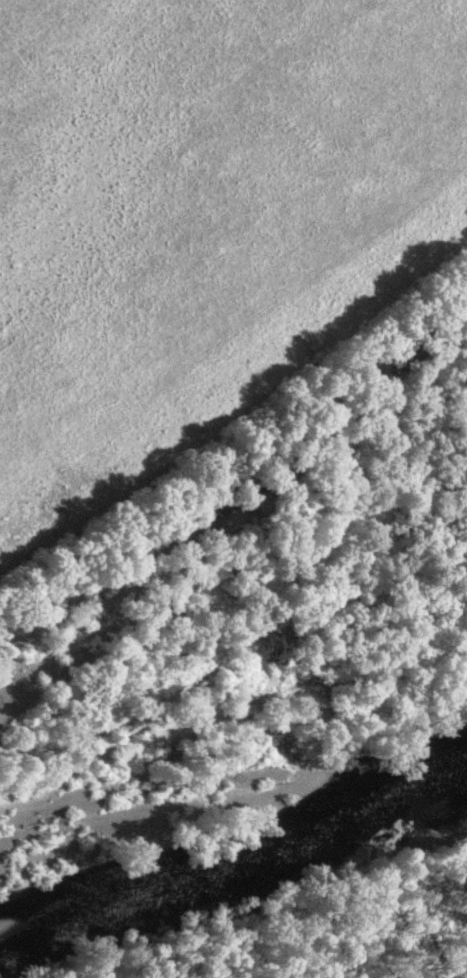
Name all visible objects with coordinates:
river: (233, 880)

